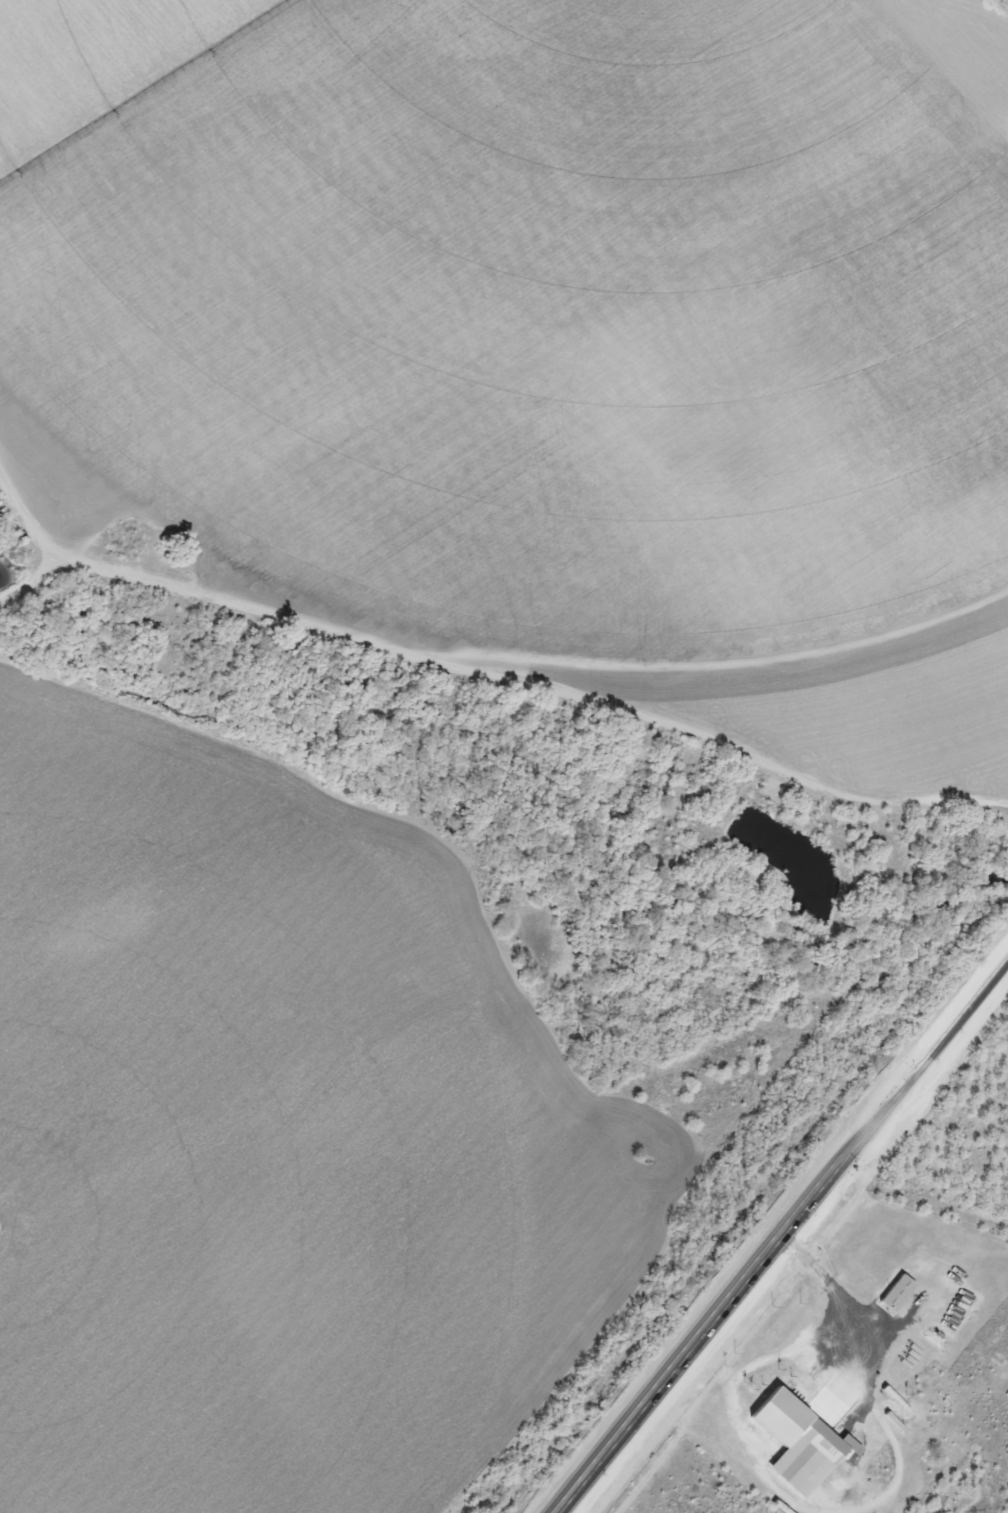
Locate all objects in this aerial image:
road: (782, 1233)
building: (895, 1295)
building: (794, 1441)

